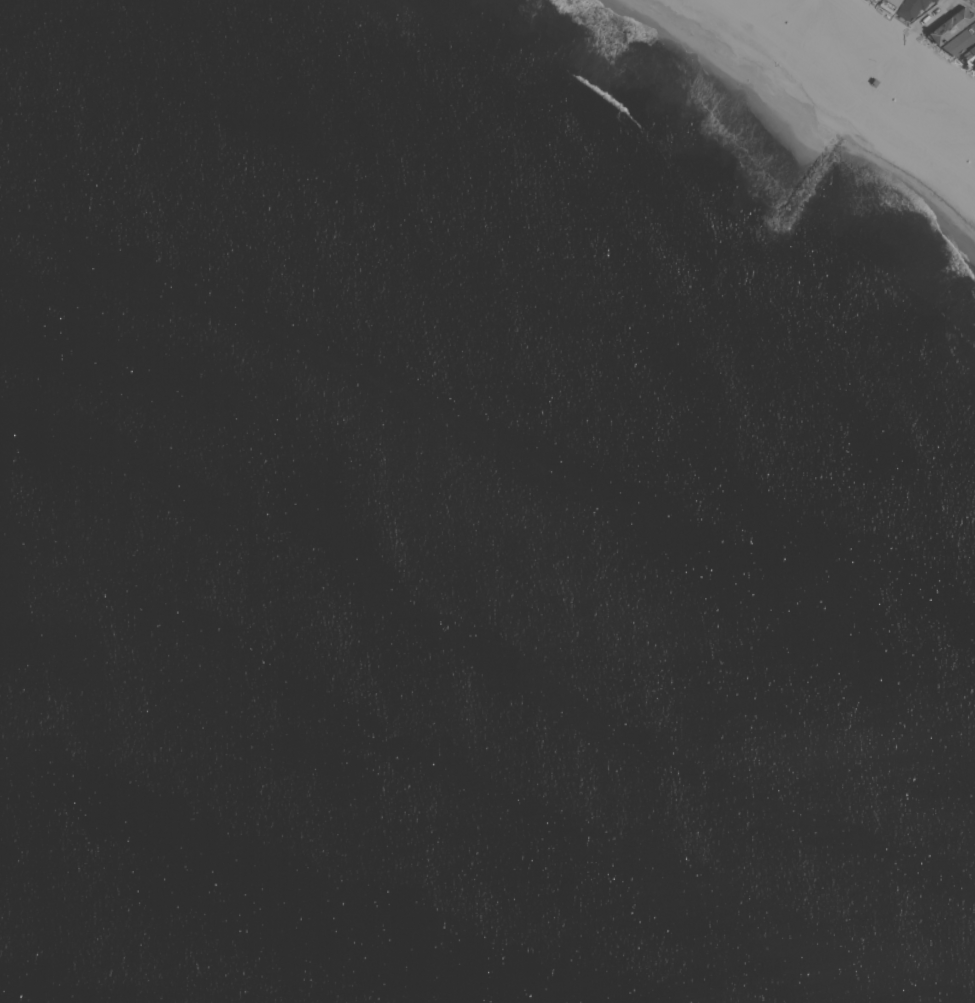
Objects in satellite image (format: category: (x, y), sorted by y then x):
building: (880, 0)
building: (933, 1)
building: (888, 4)
building: (910, 8)
road: (932, 14)
building: (951, 25)
building: (960, 40)
building: (968, 56)

